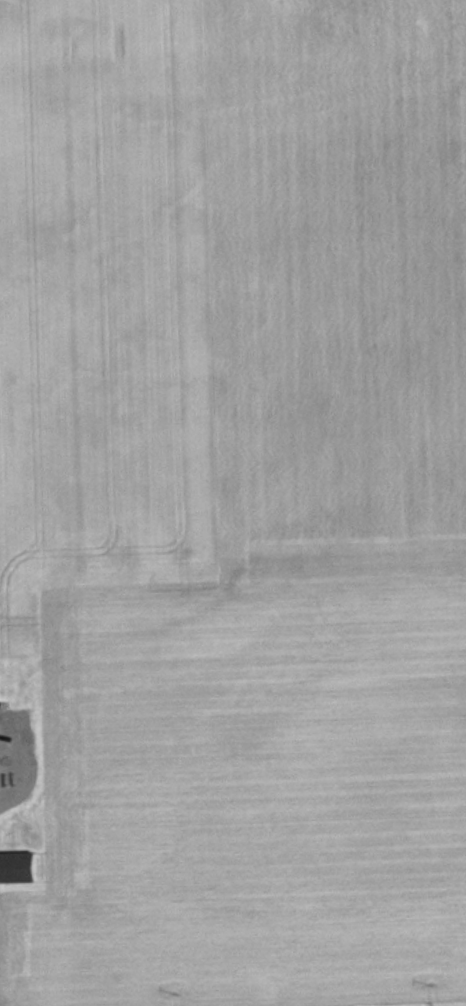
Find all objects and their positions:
building: (17, 868)

